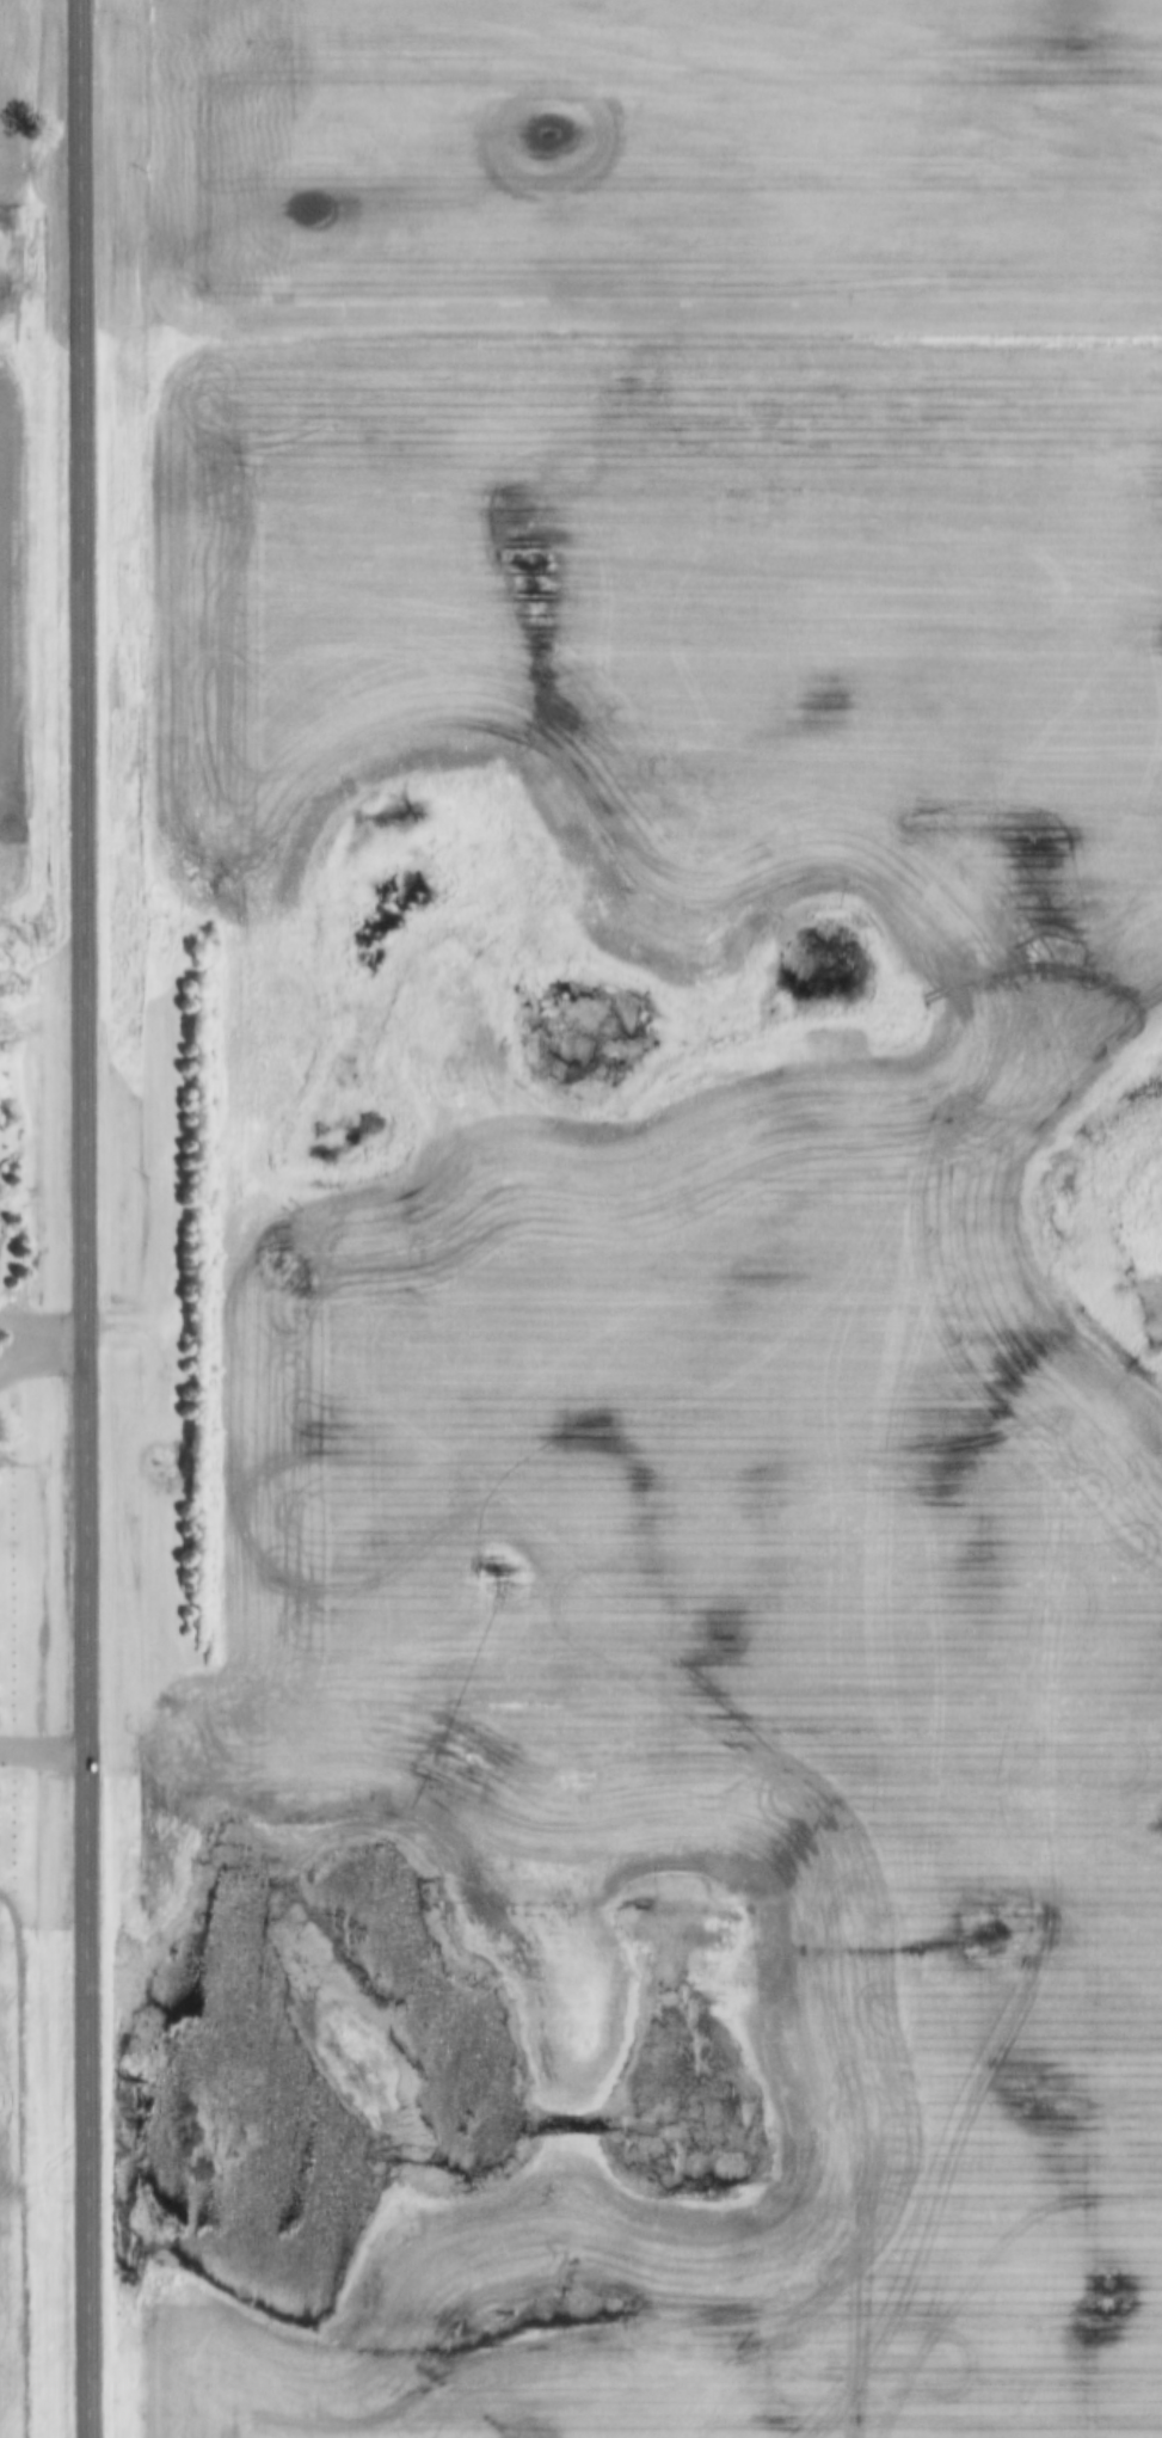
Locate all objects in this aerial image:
road: (85, 1218)
road: (62, 1346)
road: (37, 1349)

